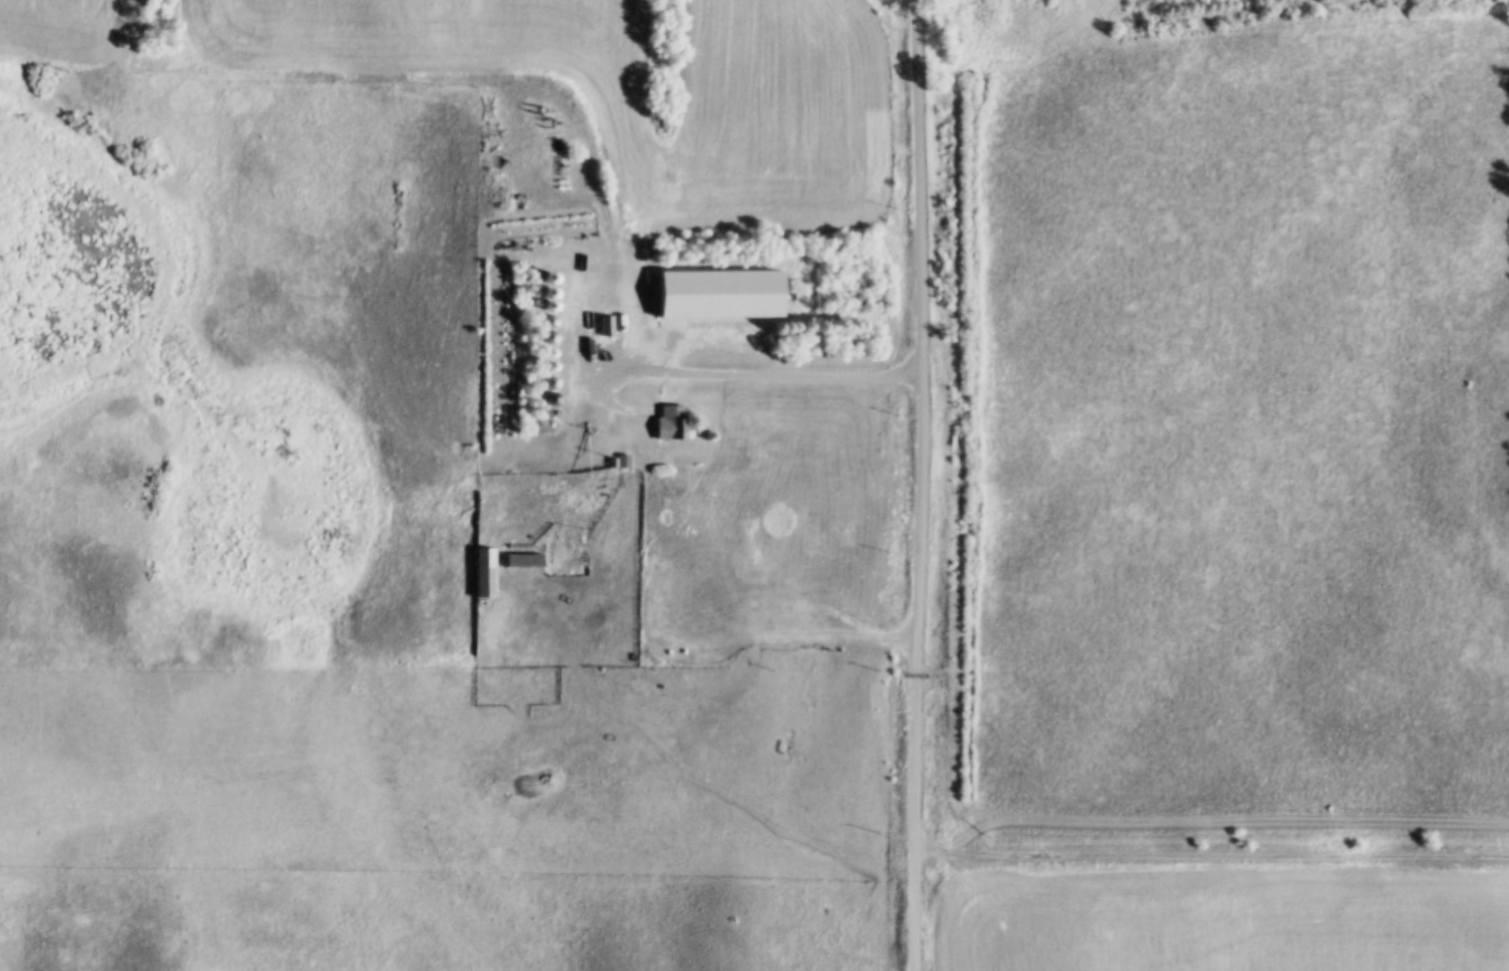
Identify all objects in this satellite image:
road: (920, 190)
building: (542, 283)
silo: (542, 283)
building: (712, 295)
building: (542, 297)
silo: (542, 297)
building: (543, 309)
silo: (543, 309)
building: (544, 322)
silo: (544, 322)
building: (600, 326)
building: (544, 338)
silo: (544, 338)
building: (544, 355)
silo: (544, 355)
building: (543, 369)
silo: (543, 369)
road: (732, 377)
building: (544, 383)
silo: (544, 383)
building: (544, 401)
silo: (544, 401)
building: (664, 423)
building: (617, 462)
building: (647, 505)
building: (842, 533)
building: (807, 538)
building: (518, 560)
building: (478, 573)
road: (916, 675)
road: (1201, 860)

